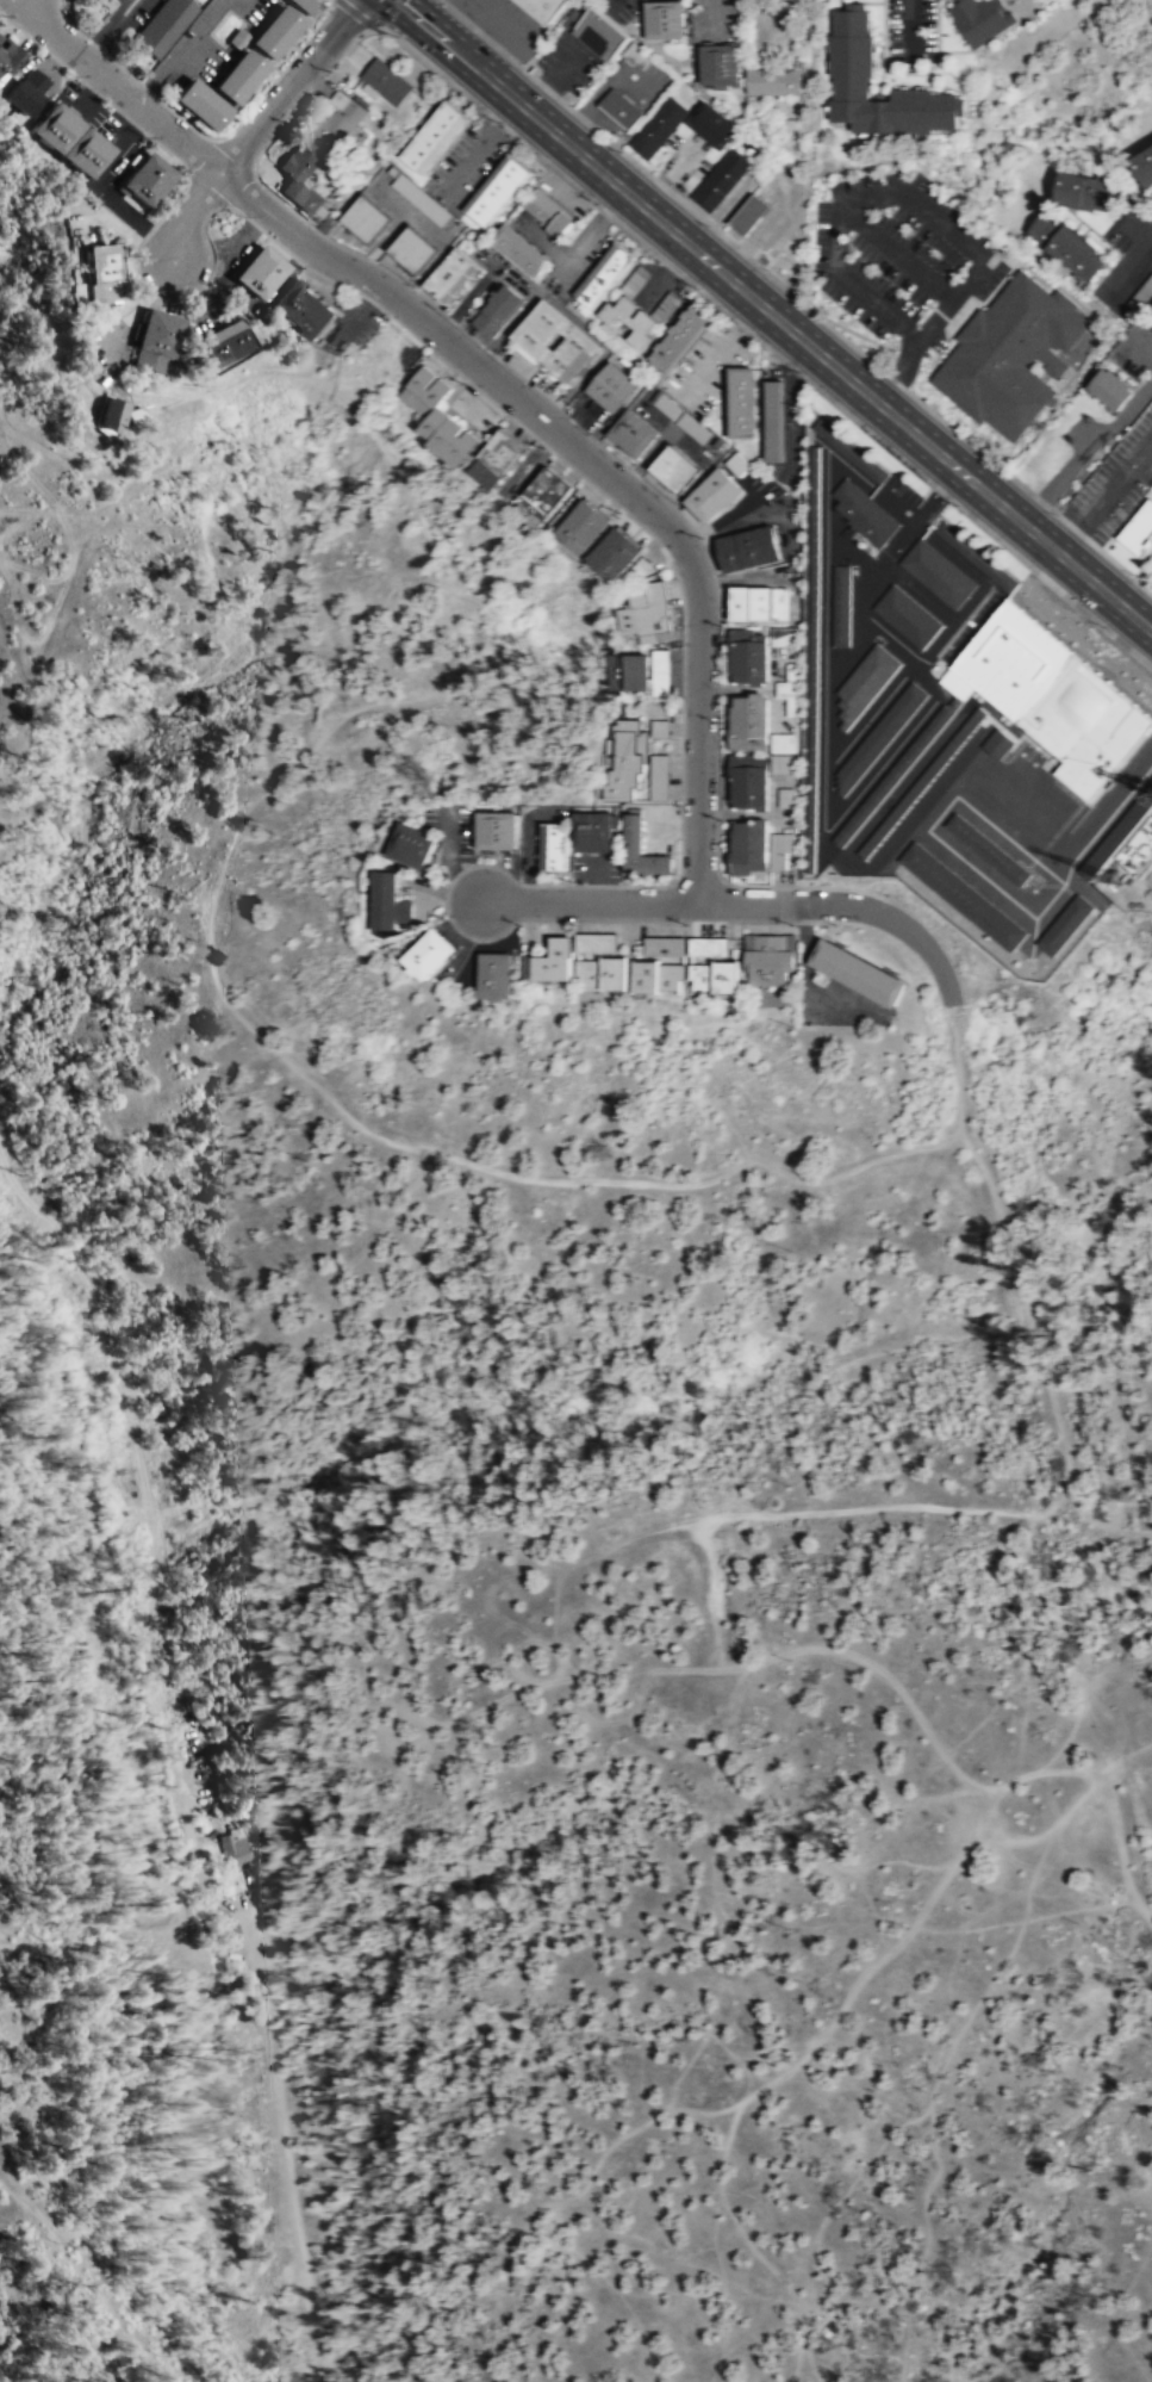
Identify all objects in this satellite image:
building: (301, 5)
building: (543, 8)
building: (665, 19)
building: (982, 19)
building: (163, 24)
road: (910, 25)
building: (273, 30)
building: (600, 32)
building: (236, 38)
building: (854, 49)
building: (636, 55)
building: (7, 57)
building: (721, 64)
building: (236, 75)
building: (385, 82)
building: (773, 82)
road: (288, 86)
building: (27, 91)
building: (198, 103)
building: (621, 110)
building: (340, 118)
building: (712, 124)
building: (658, 126)
building: (437, 137)
building: (69, 138)
road: (479, 142)
building: (1142, 165)
building: (303, 176)
building: (147, 179)
building: (721, 179)
building: (500, 190)
building: (1081, 191)
road: (839, 204)
building: (549, 213)
building: (748, 213)
road: (188, 216)
building: (369, 219)
road: (1137, 229)
building: (1065, 244)
building: (522, 249)
road: (895, 252)
parking lot: (902, 259)
road: (1131, 260)
building: (437, 263)
building: (260, 271)
building: (105, 273)
building: (604, 278)
building: (671, 299)
building: (305, 309)
building: (497, 311)
road: (774, 315)
building: (628, 321)
road: (926, 328)
building: (154, 339)
building: (681, 339)
building: (225, 341)
building: (560, 341)
building: (1011, 355)
road: (496, 382)
building: (614, 387)
building: (1114, 389)
building: (743, 401)
building: (110, 414)
building: (441, 416)
building: (777, 421)
building: (636, 433)
road: (818, 442)
building: (849, 449)
road: (1145, 455)
building: (497, 459)
building: (673, 467)
road: (1145, 470)
building: (548, 491)
building: (712, 494)
road: (897, 507)
road: (91, 509)
building: (864, 513)
road: (922, 513)
road: (1102, 513)
building: (581, 525)
building: (1139, 532)
building: (747, 547)
building: (614, 553)
road: (853, 554)
building: (977, 557)
road: (957, 558)
parking lot: (1151, 569)
building: (936, 572)
road: (824, 581)
road: (919, 593)
building: (758, 602)
building: (840, 604)
building: (646, 613)
road: (865, 615)
building: (907, 615)
road: (952, 620)
building: (782, 635)
building: (811, 653)
building: (625, 670)
building: (660, 672)
building: (864, 682)
building: (785, 683)
building: (1048, 696)
road: (487, 706)
building: (660, 728)
building: (878, 737)
building: (997, 743)
road: (843, 748)
building: (756, 751)
building: (622, 758)
road: (877, 769)
building: (895, 771)
building: (659, 777)
building: (785, 798)
building: (493, 827)
building: (591, 831)
building: (1116, 831)
building: (411, 844)
building: (553, 845)
building: (751, 846)
building: (640, 848)
building: (780, 849)
building: (988, 850)
building: (1138, 850)
building: (961, 897)
building: (387, 902)
road: (739, 904)
building: (1064, 924)
building: (597, 943)
building: (665, 947)
building: (709, 947)
building: (428, 953)
building: (768, 957)
building: (553, 960)
road: (211, 961)
building: (858, 972)
building: (599, 973)
building: (493, 974)
building: (654, 975)
building: (712, 975)
road: (1020, 1295)
road: (553, 1621)
road: (717, 1658)
road: (697, 1760)
road: (1002, 1836)
road: (1120, 1848)
building: (235, 1849)
road: (949, 1869)
road: (898, 1918)
road: (833, 2017)
road: (944, 2058)
road: (278, 2129)
road: (798, 2258)
road: (1121, 2313)

